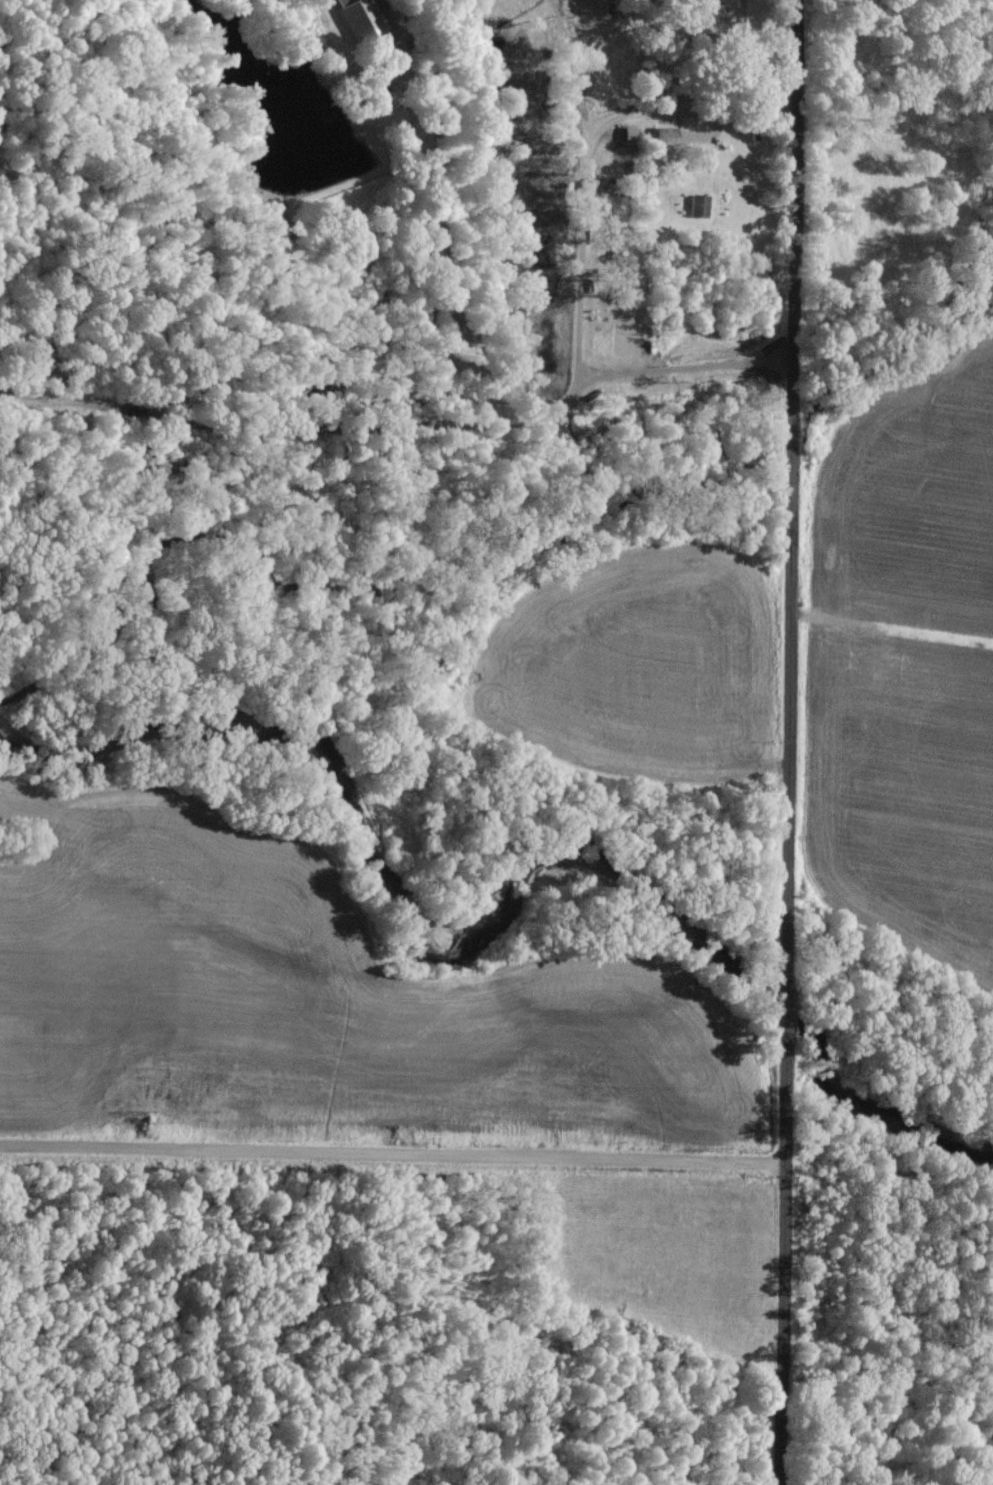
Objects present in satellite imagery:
building: (366, 17)
building: (660, 133)
building: (699, 203)
road: (791, 226)
road: (786, 969)
road: (393, 1142)

